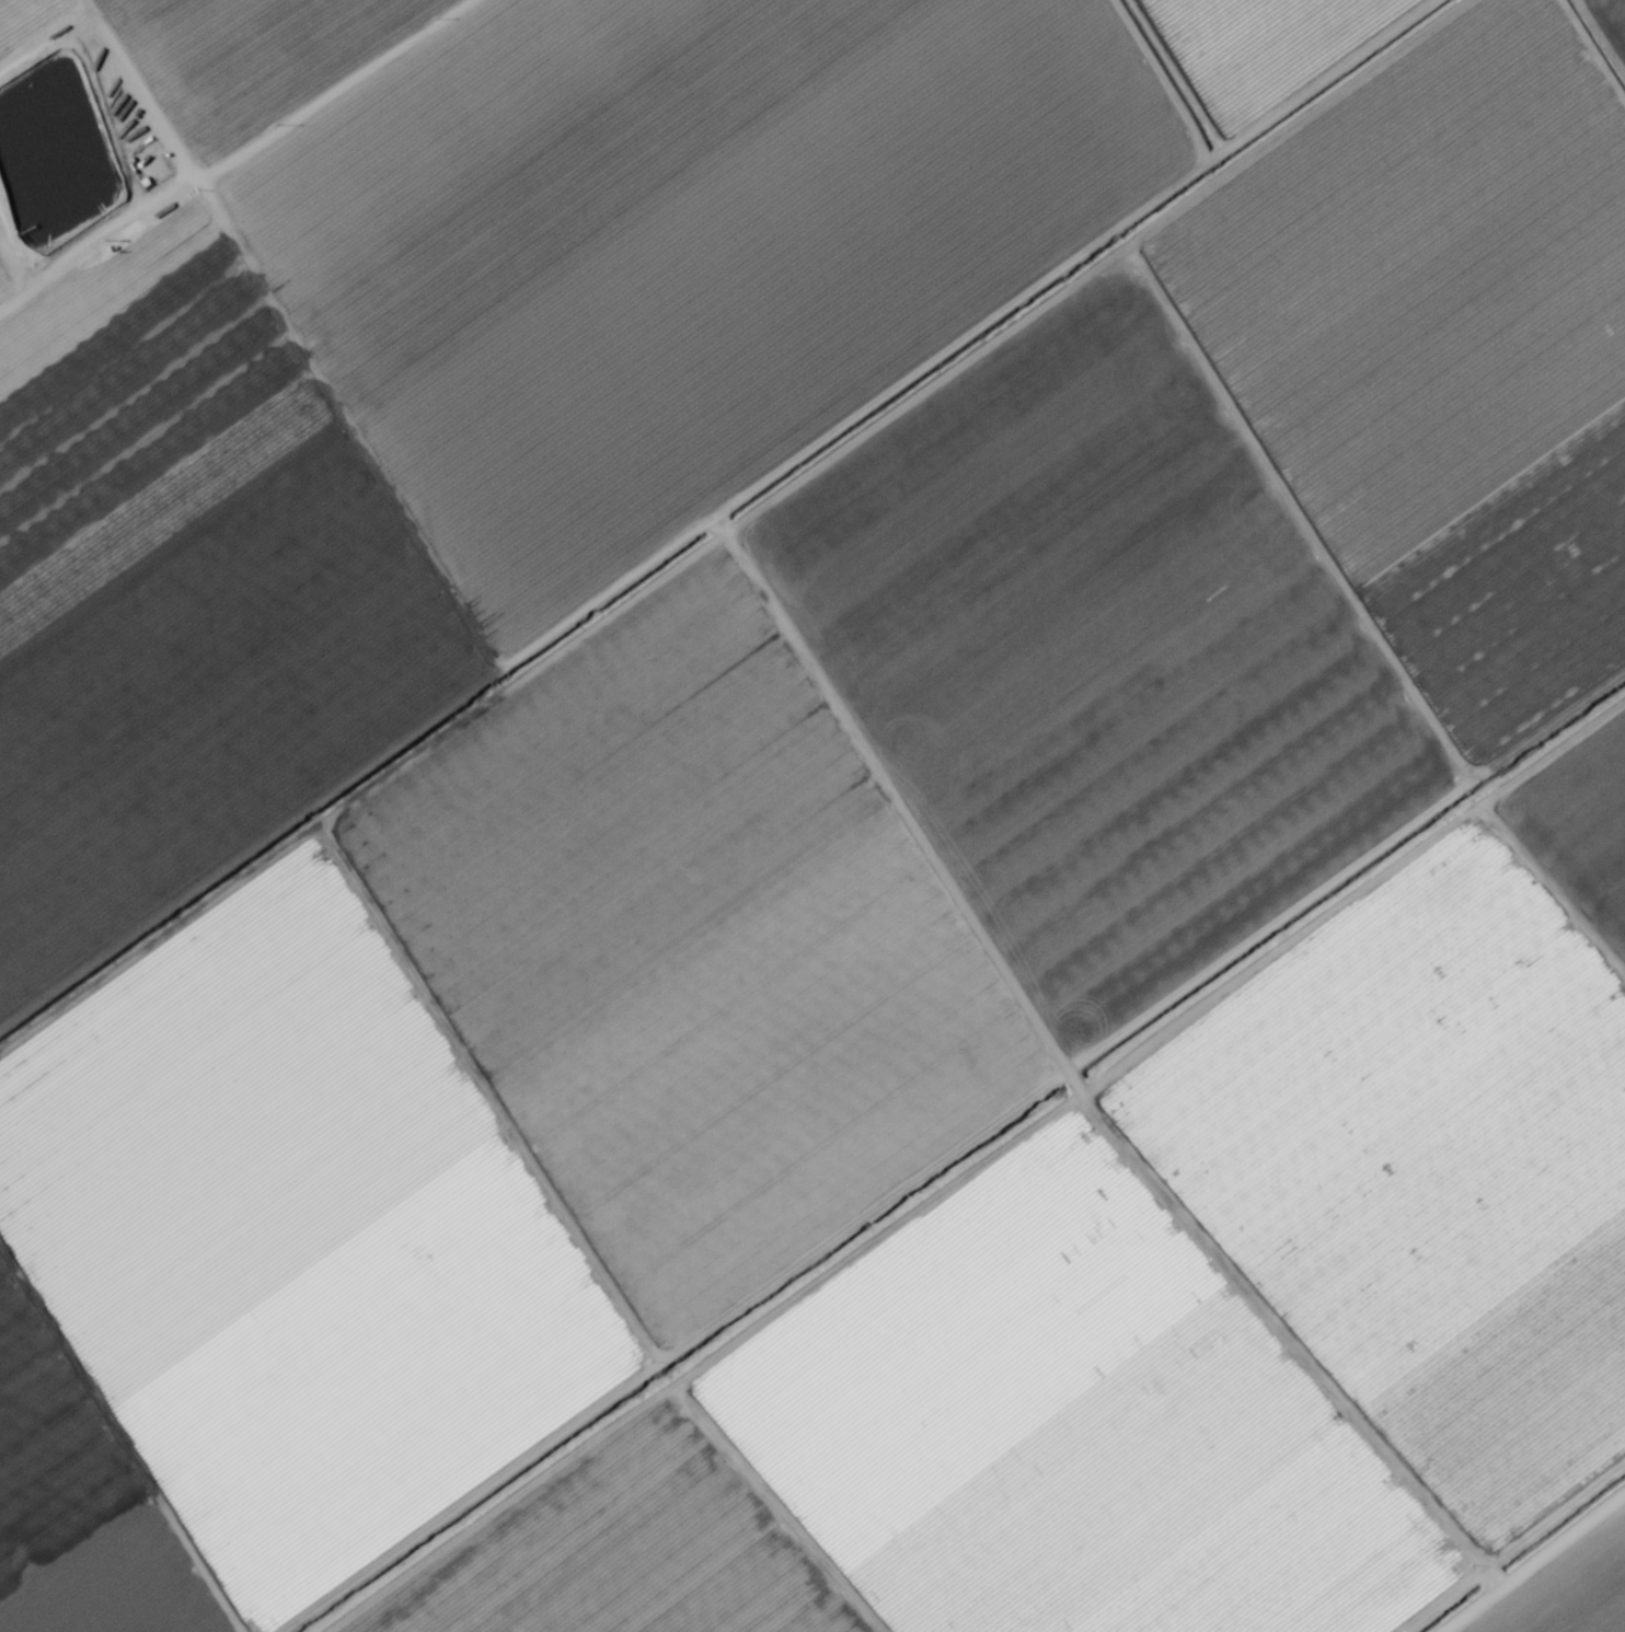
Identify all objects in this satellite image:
road: (242, 164)
crop: (812, 815)
road: (1517, 1539)

